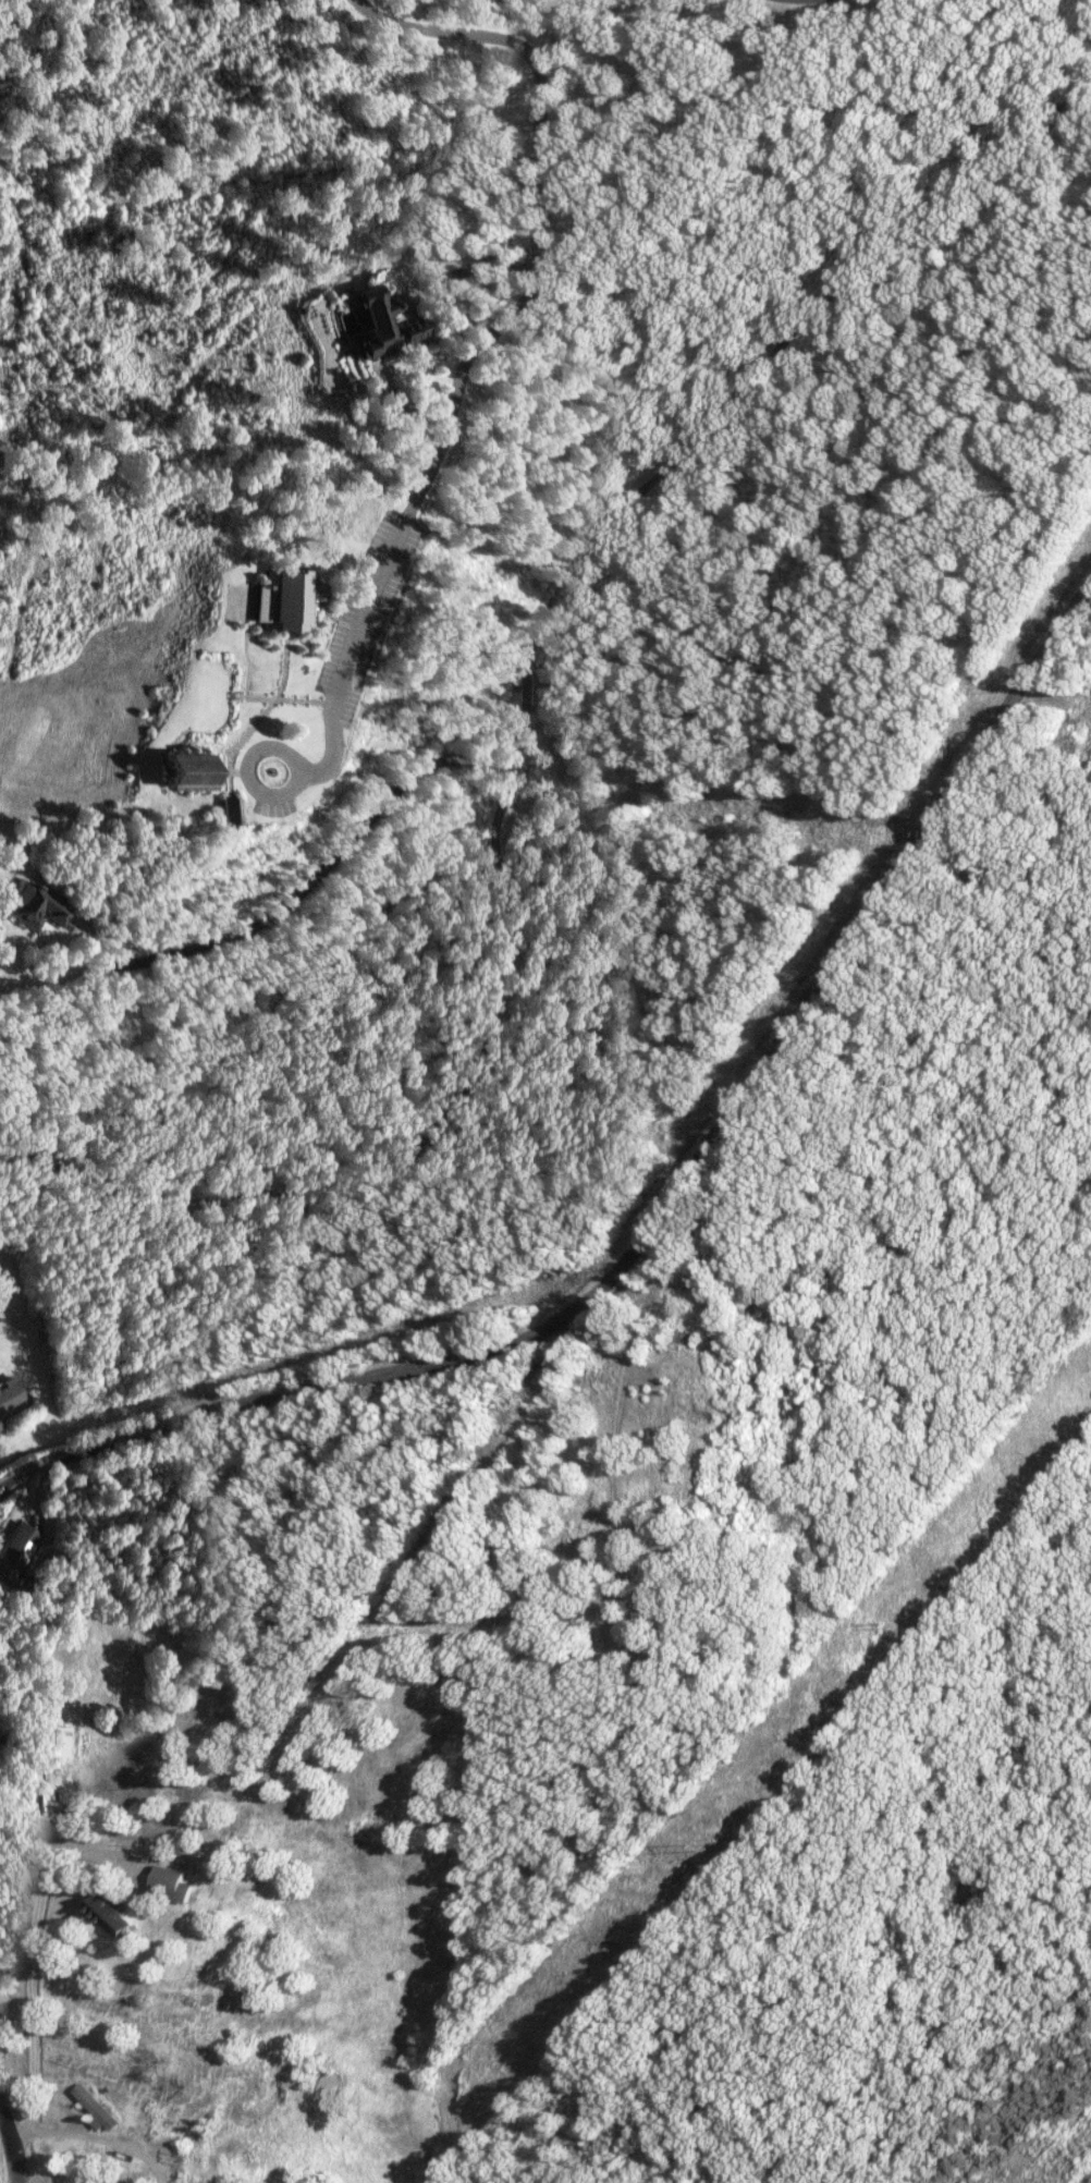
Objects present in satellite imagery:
building: (363, 322)
building: (410, 330)
road: (485, 341)
building: (280, 599)
road: (262, 748)
building: (182, 769)
building: (225, 809)
building: (33, 905)
road: (673, 1207)
road: (359, 1220)
building: (8, 1393)
building: (12, 1549)
power tower: (881, 1623)
building: (50, 1741)
power tower: (686, 1854)
building: (168, 1883)
building: (110, 1913)
building: (95, 2108)
road: (11, 2143)
road: (27, 2174)

